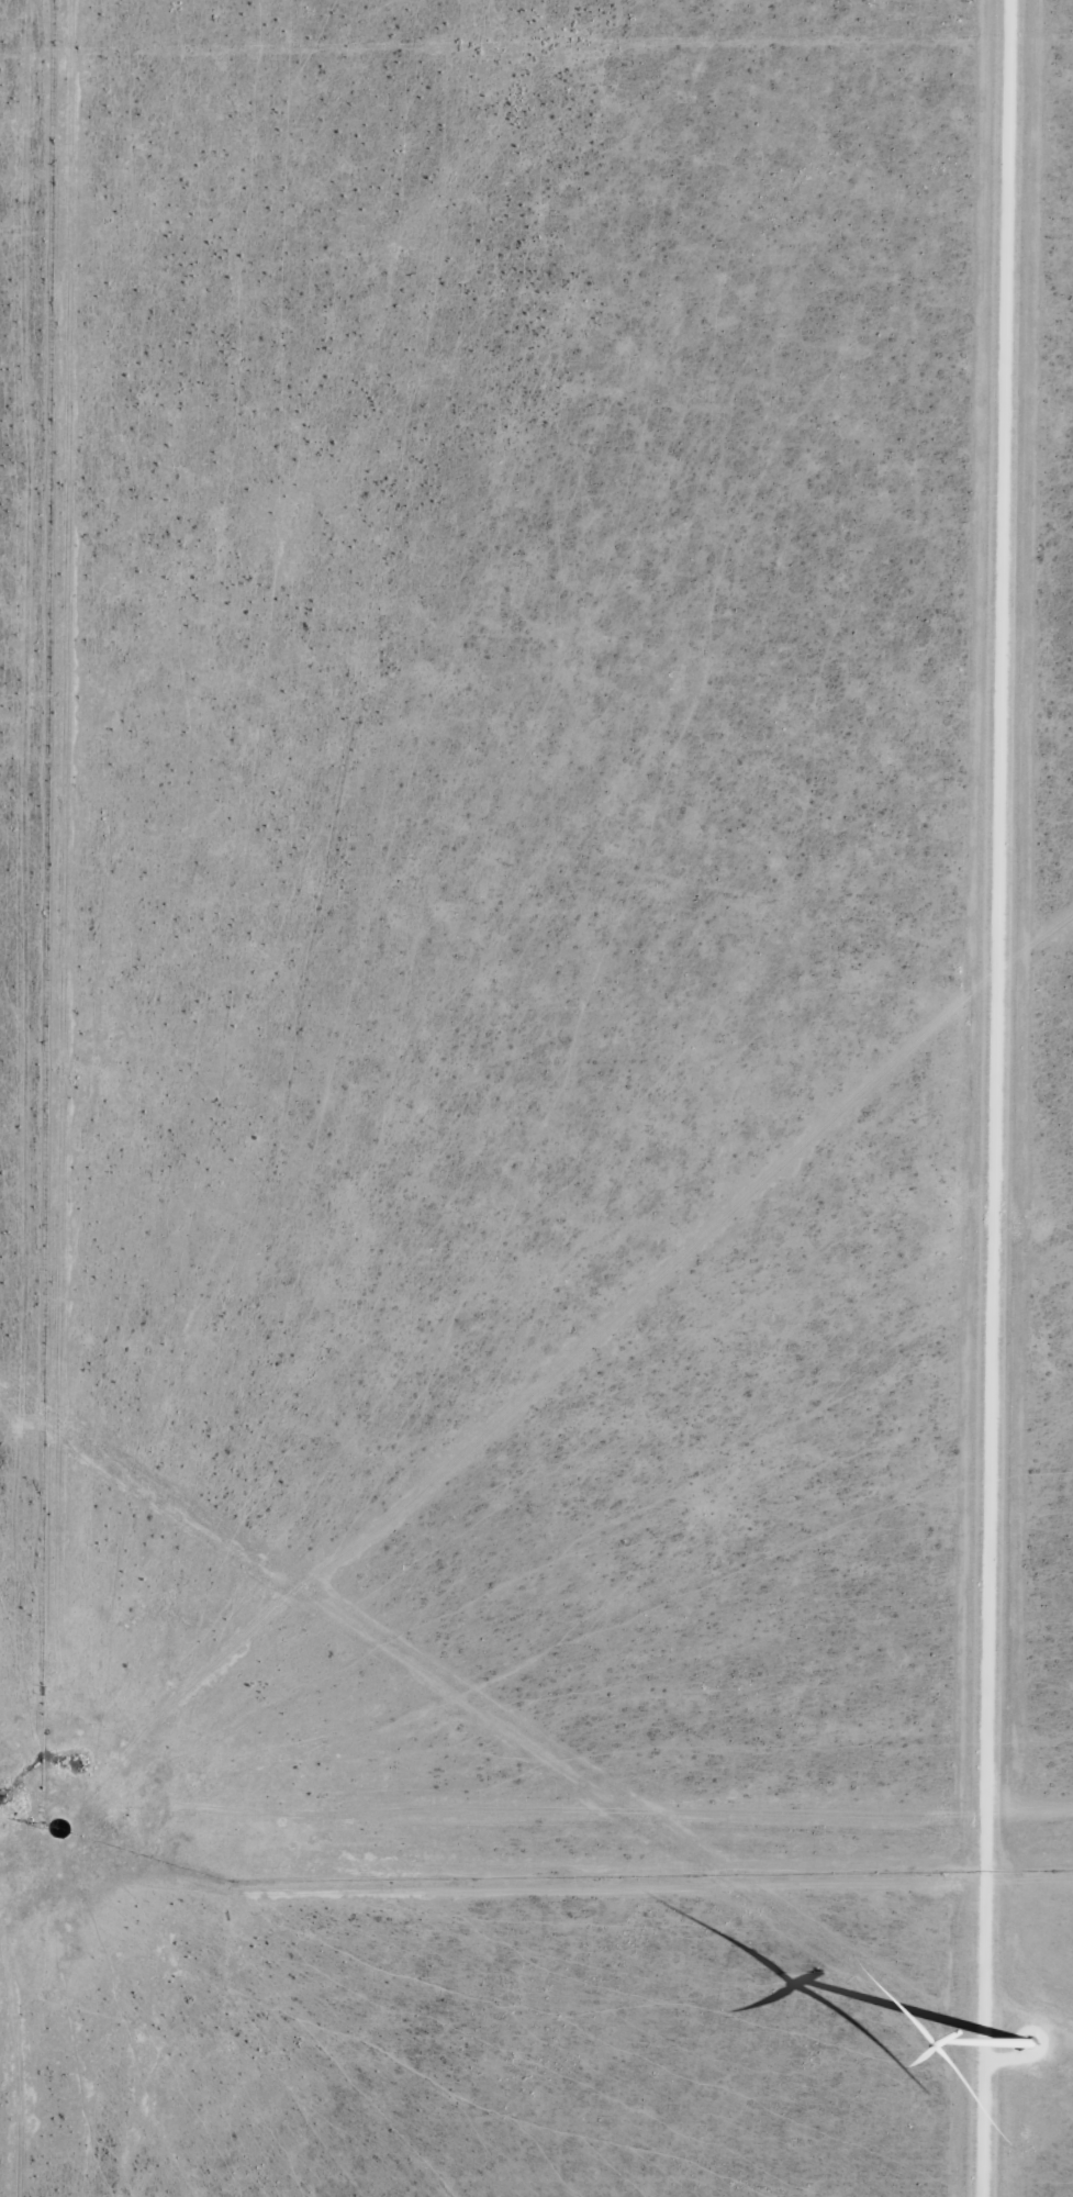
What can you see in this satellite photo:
wind turbine: (1026, 2040)

